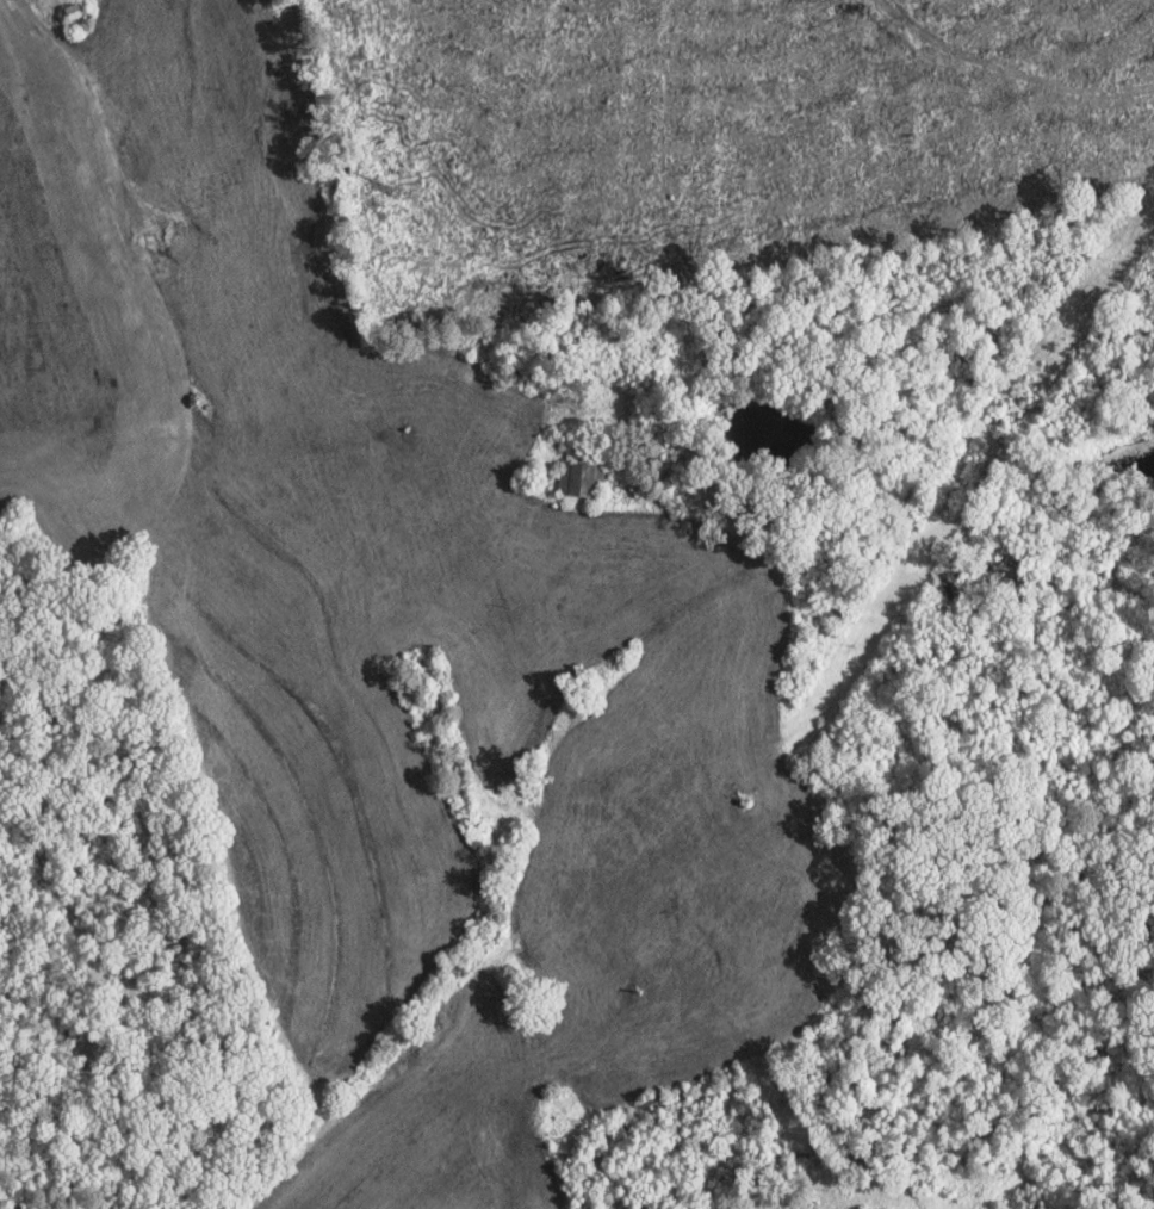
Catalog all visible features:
building: (75, 11)
building: (587, 479)

